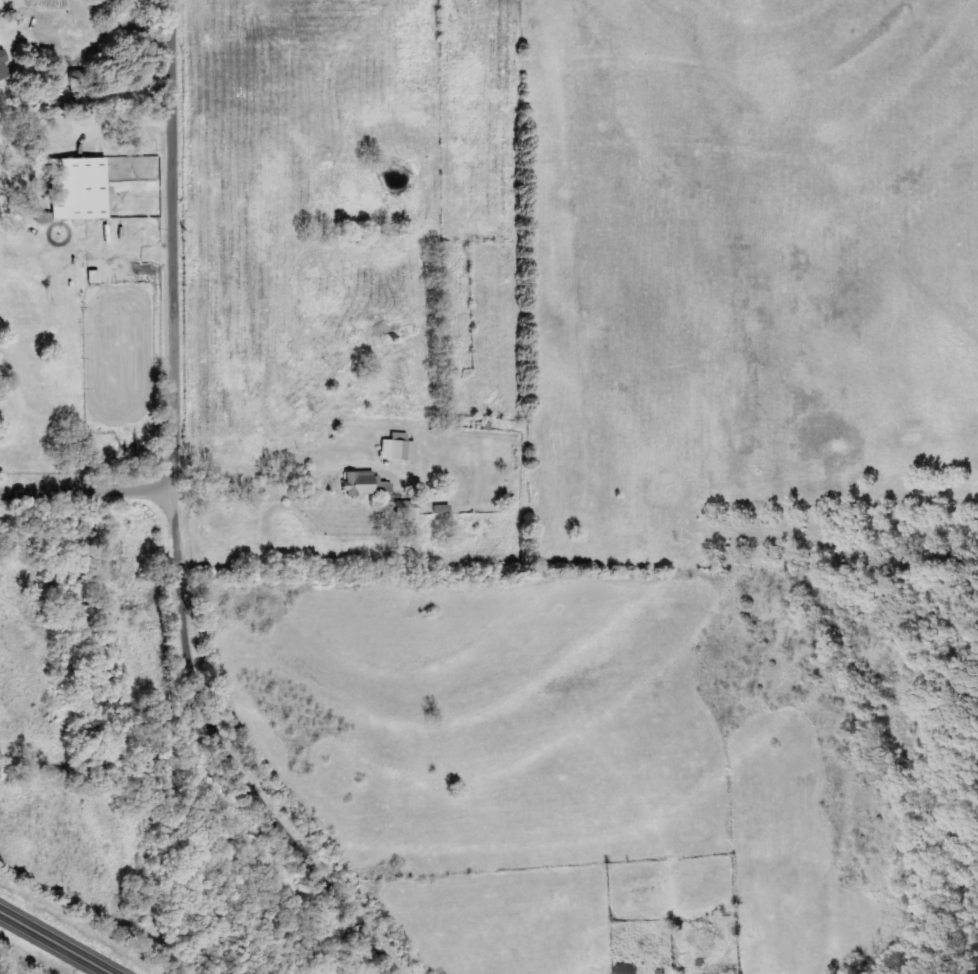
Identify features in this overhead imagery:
building: (4, 64)
building: (81, 83)
building: (81, 188)
road: (180, 244)
building: (400, 448)
building: (368, 484)
road: (90, 489)
building: (408, 508)
road: (261, 582)
road: (236, 755)
road: (62, 939)

